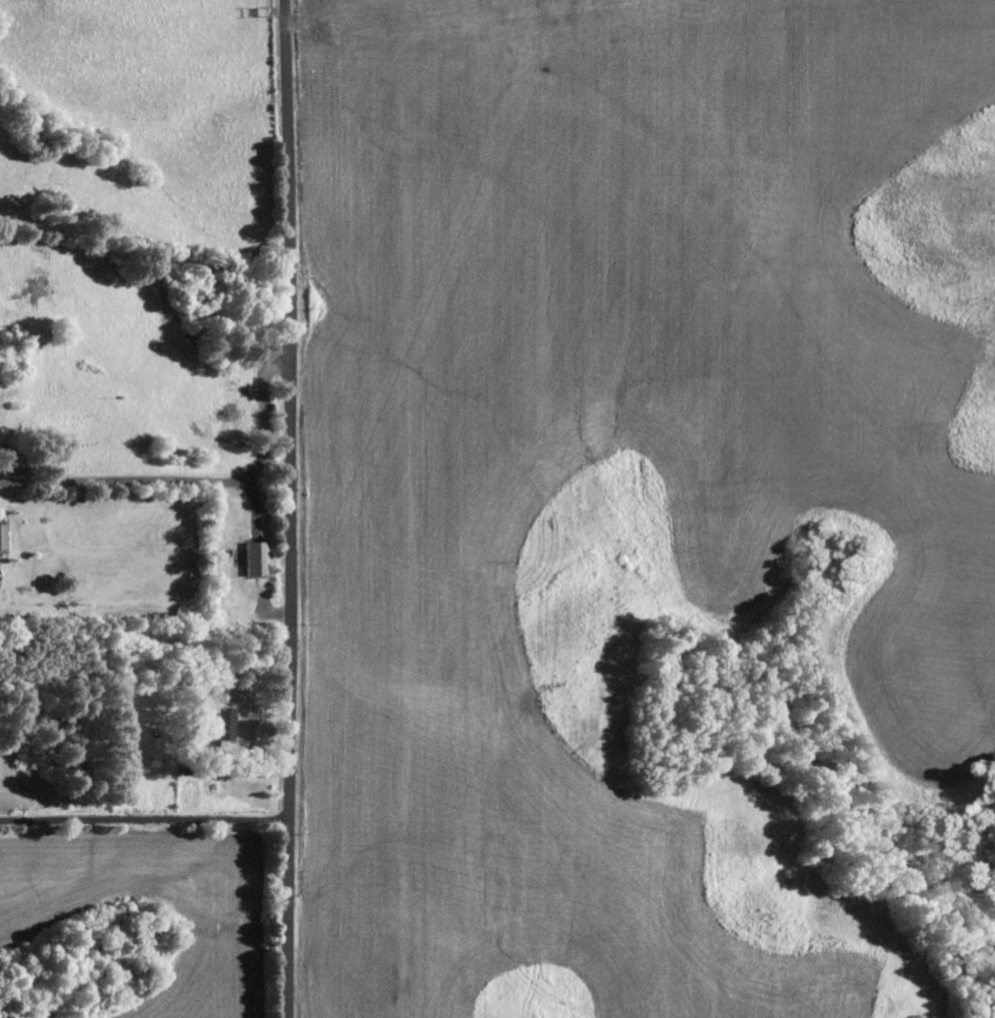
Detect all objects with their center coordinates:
road: (141, 252)
road: (289, 508)
building: (2, 537)
building: (256, 558)
building: (224, 726)
road: (143, 819)

